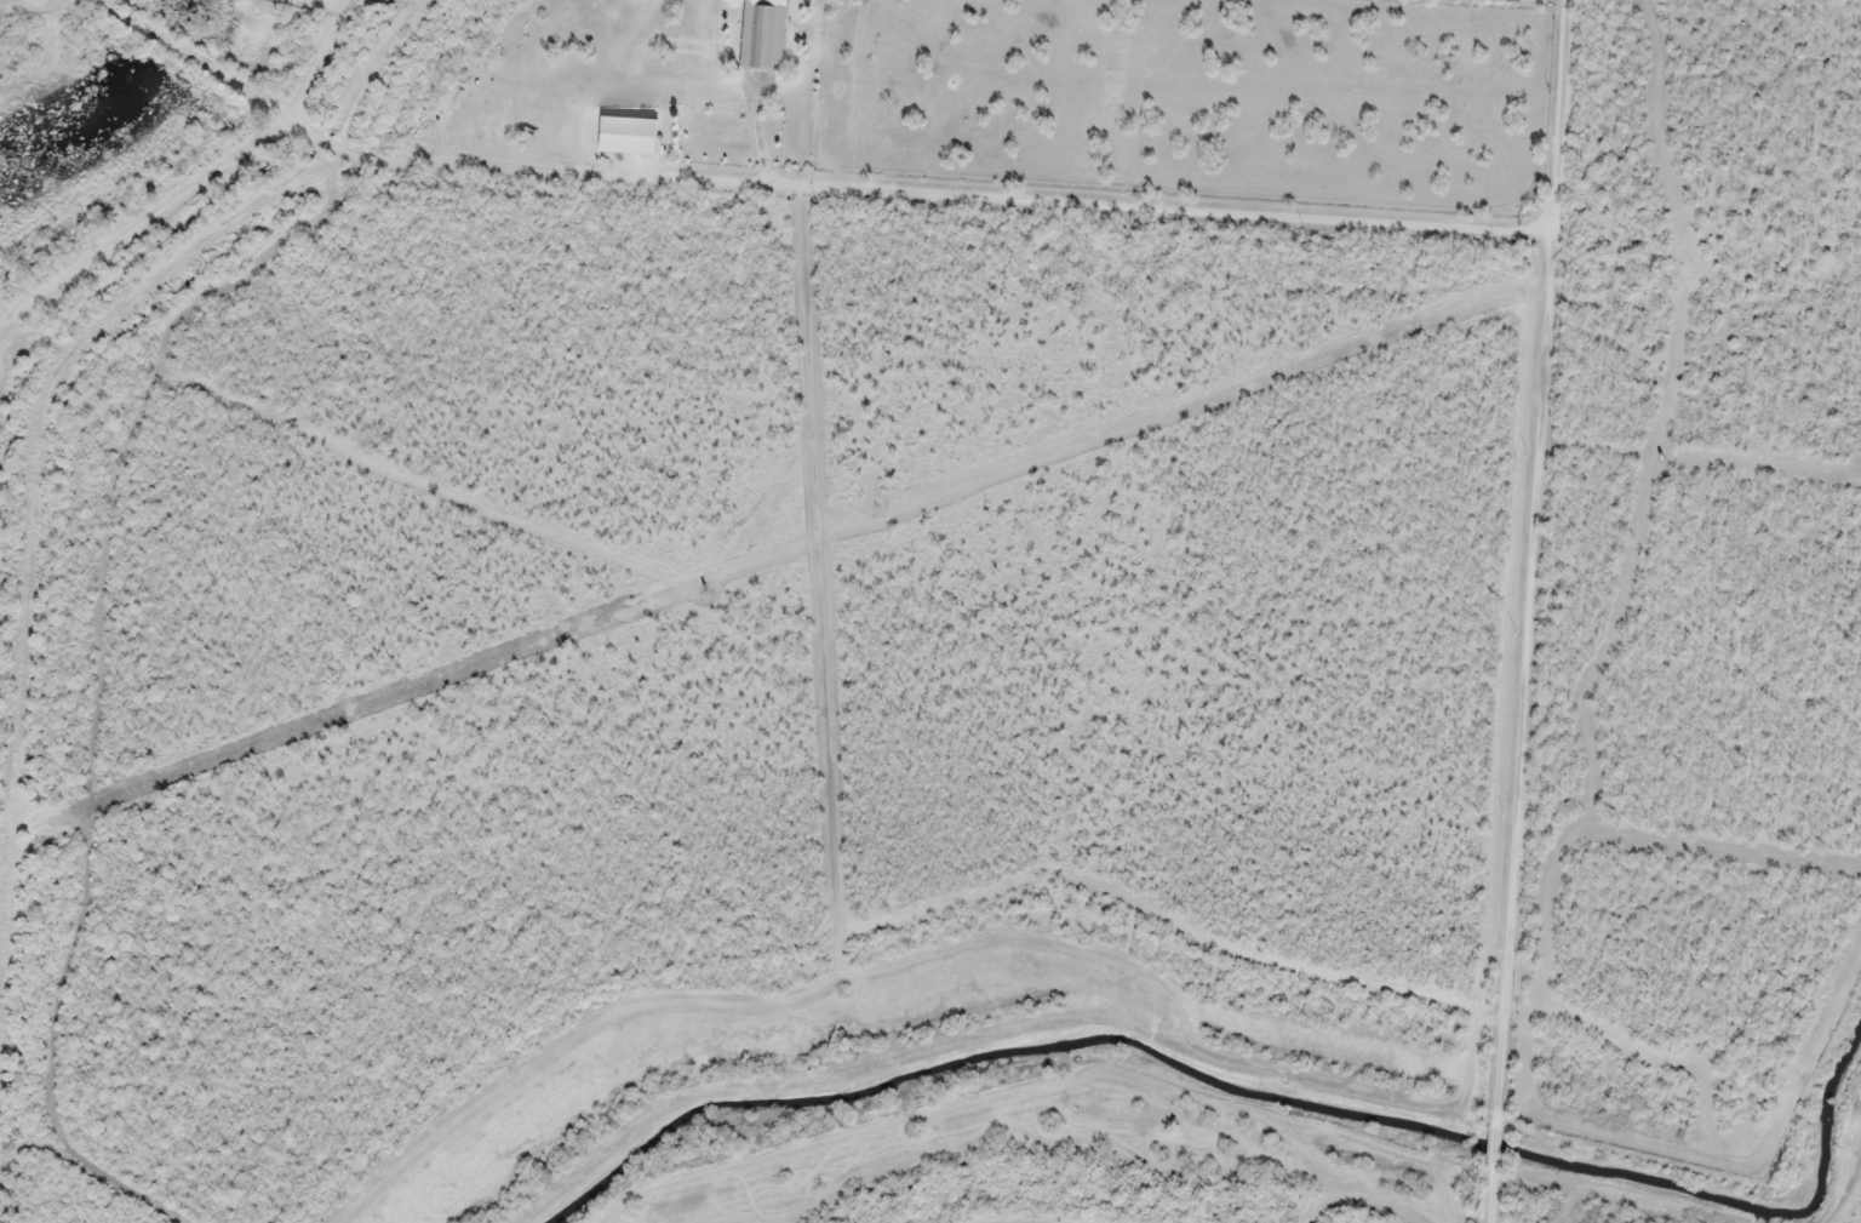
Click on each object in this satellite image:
building: (761, 34)
building: (628, 135)
road: (877, 213)
road: (1545, 611)
river: (1823, 1133)

